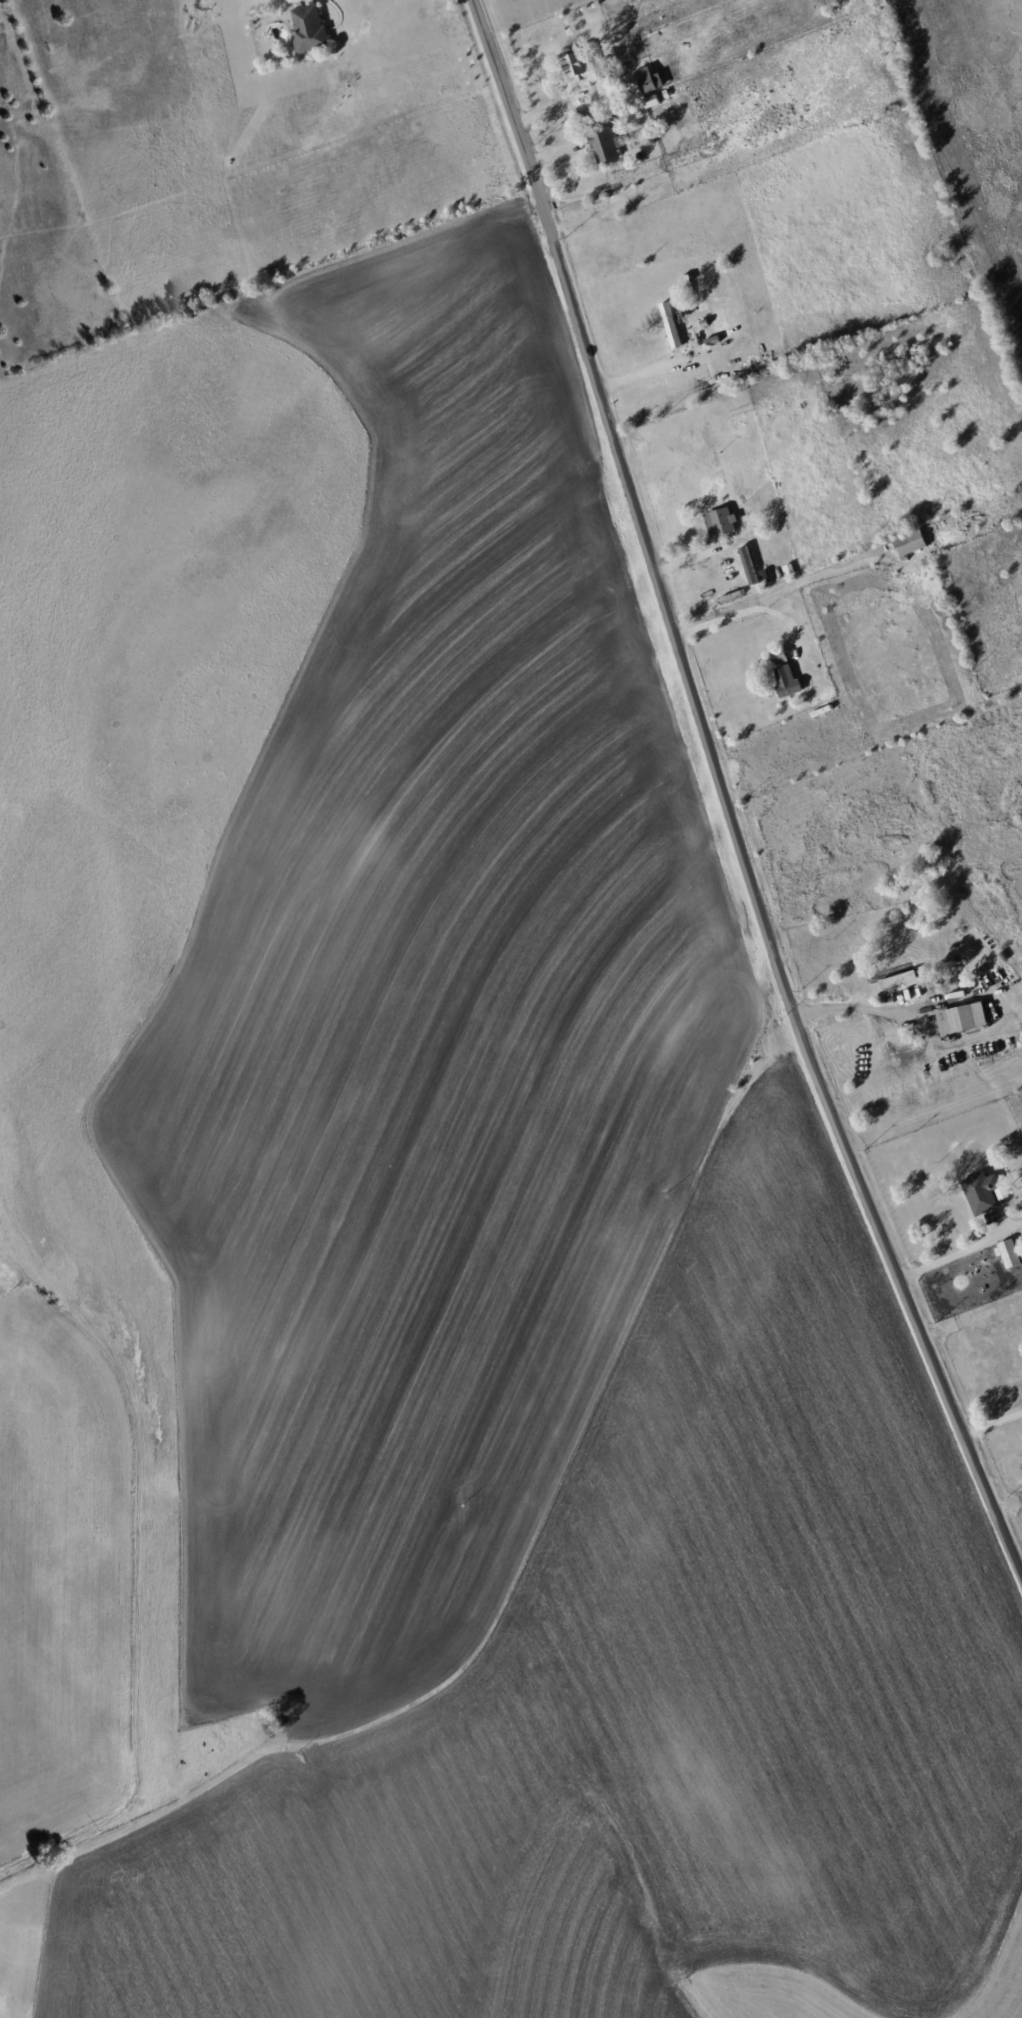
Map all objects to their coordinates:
building: (311, 30)
road: (566, 109)
building: (671, 324)
road: (643, 372)
building: (723, 520)
road: (741, 612)
building: (787, 681)
road: (721, 800)
building: (965, 1018)
road: (931, 1035)
building: (985, 1190)
road: (945, 1257)
road: (991, 1423)

